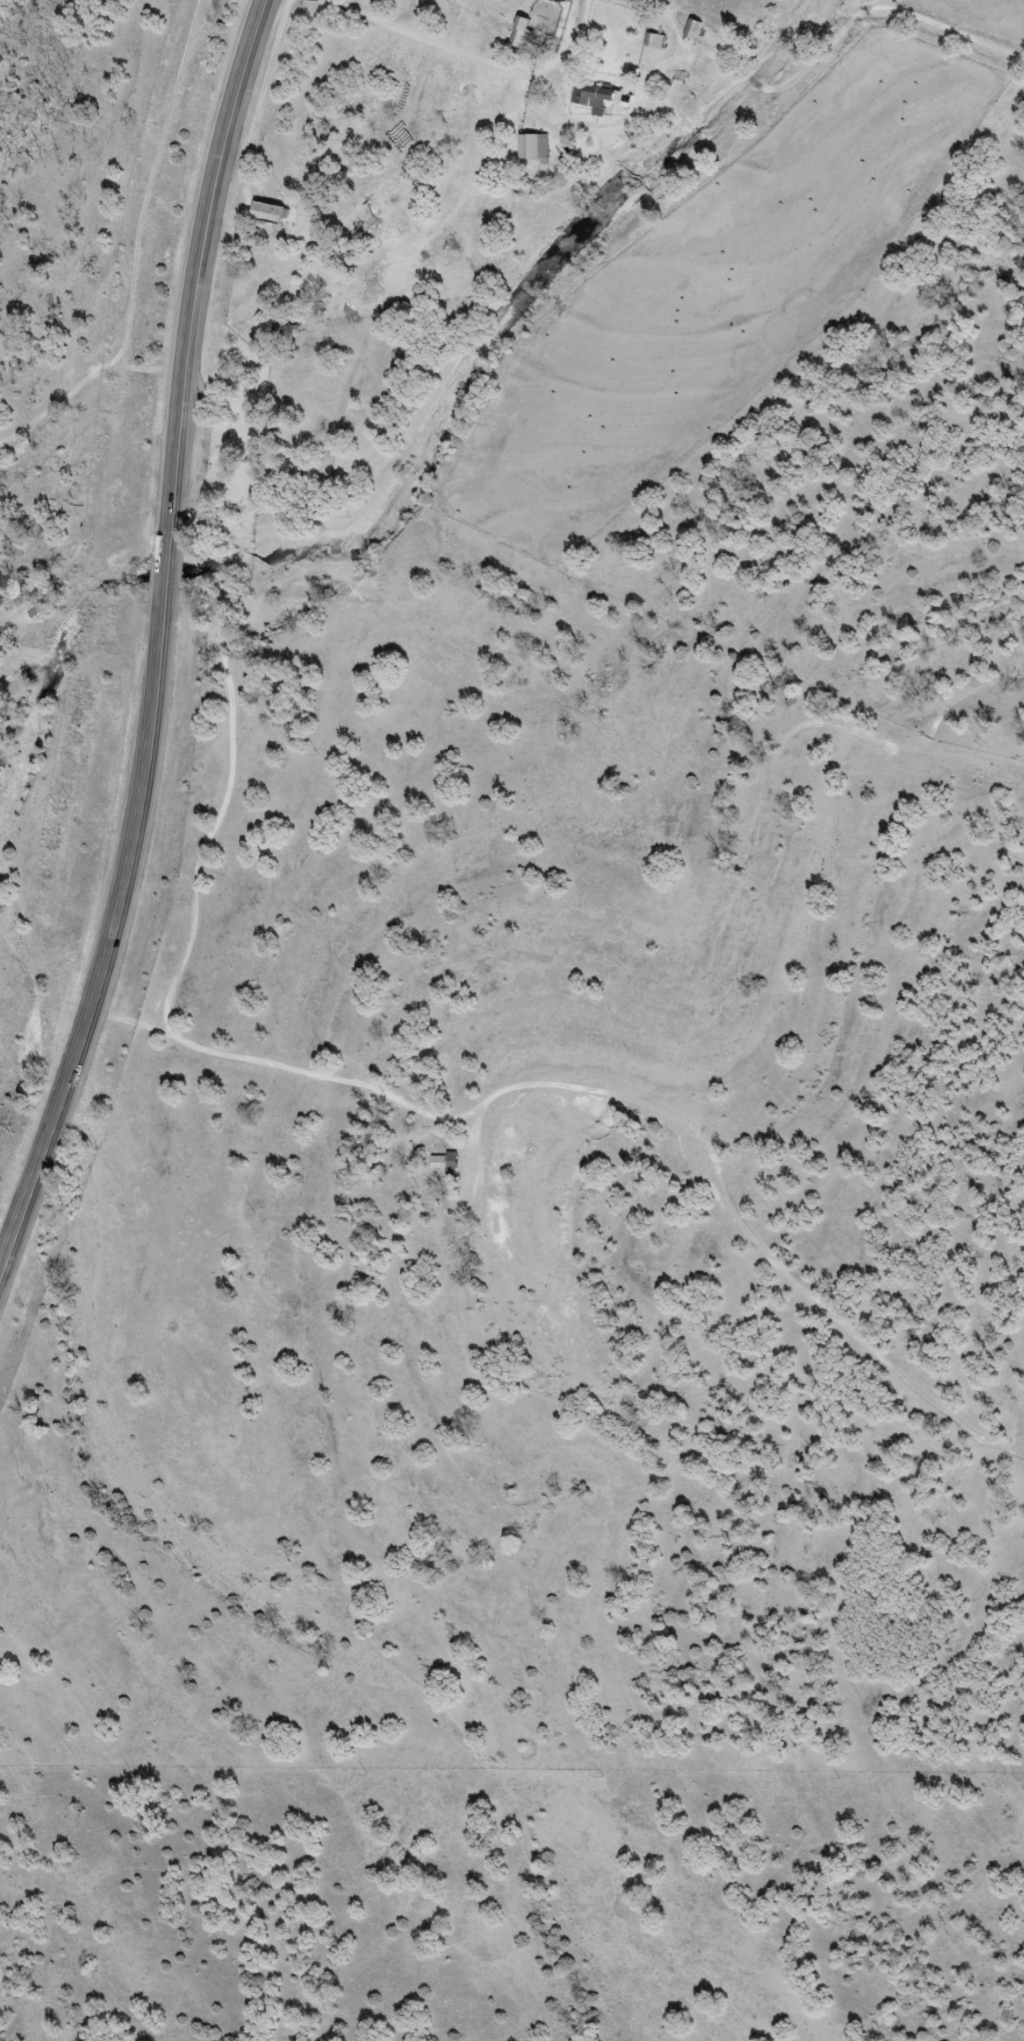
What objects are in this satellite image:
building: (697, 30)
building: (523, 33)
building: (659, 42)
road: (503, 68)
building: (599, 96)
building: (537, 148)
building: (272, 214)
road: (197, 271)
road: (163, 578)
road: (109, 947)
road: (273, 1066)
building: (447, 1165)

